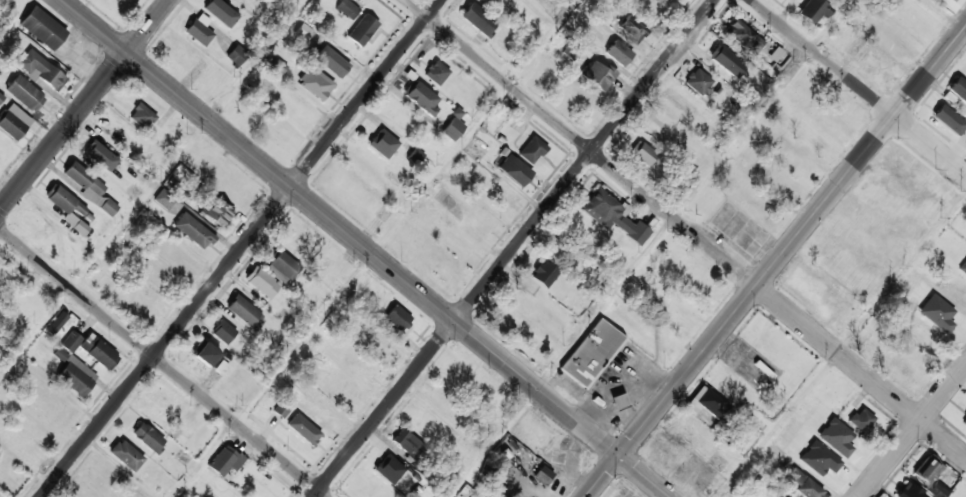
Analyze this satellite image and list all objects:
building: (950, 4)
building: (347, 8)
building: (812, 11)
building: (220, 12)
road: (945, 16)
building: (478, 19)
building: (633, 28)
building: (45, 30)
building: (199, 30)
building: (362, 30)
building: (743, 35)
building: (618, 52)
building: (236, 55)
road: (254, 59)
building: (727, 60)
building: (331, 61)
building: (41, 70)
building: (436, 72)
building: (596, 74)
building: (698, 81)
building: (315, 82)
road: (858, 87)
building: (958, 88)
building: (25, 93)
building: (422, 98)
road: (84, 104)
building: (142, 115)
building: (949, 119)
building: (13, 121)
building: (454, 124)
building: (383, 143)
building: (531, 150)
building: (642, 153)
building: (417, 154)
building: (100, 155)
building: (514, 169)
building: (92, 191)
building: (164, 199)
building: (68, 208)
building: (214, 210)
building: (613, 215)
road: (686, 229)
building: (193, 231)
road: (240, 248)
road: (366, 248)
road: (375, 248)
road: (514, 248)
road: (648, 248)
road: (775, 262)
building: (281, 266)
building: (963, 269)
building: (544, 273)
building: (261, 281)
building: (243, 311)
building: (397, 318)
building: (56, 323)
road: (35, 332)
building: (223, 332)
building: (71, 341)
building: (98, 351)
building: (204, 353)
building: (591, 353)
road: (162, 363)
building: (76, 376)
building: (618, 402)
building: (707, 402)
building: (282, 408)
building: (861, 419)
building: (963, 420)
building: (303, 429)
road: (912, 430)
building: (147, 437)
building: (408, 446)
building: (656, 450)
building: (126, 455)
building: (225, 460)
building: (388, 469)
building: (925, 471)
building: (542, 475)
building: (802, 484)
building: (938, 489)
building: (908, 491)
building: (879, 496)

